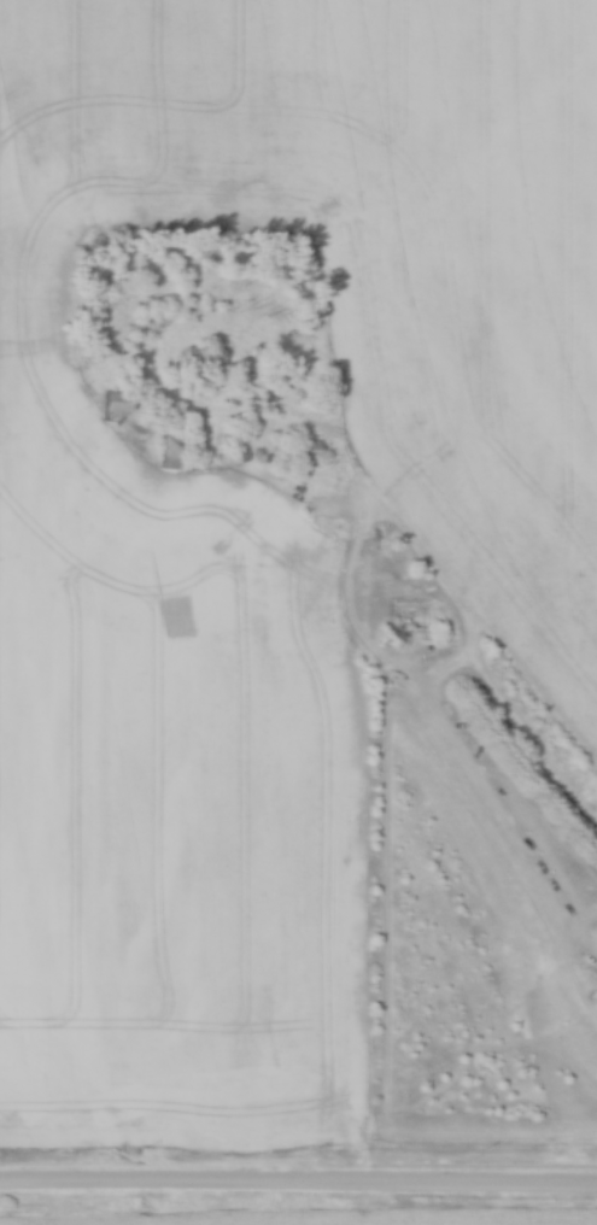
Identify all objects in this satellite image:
road: (298, 1184)

